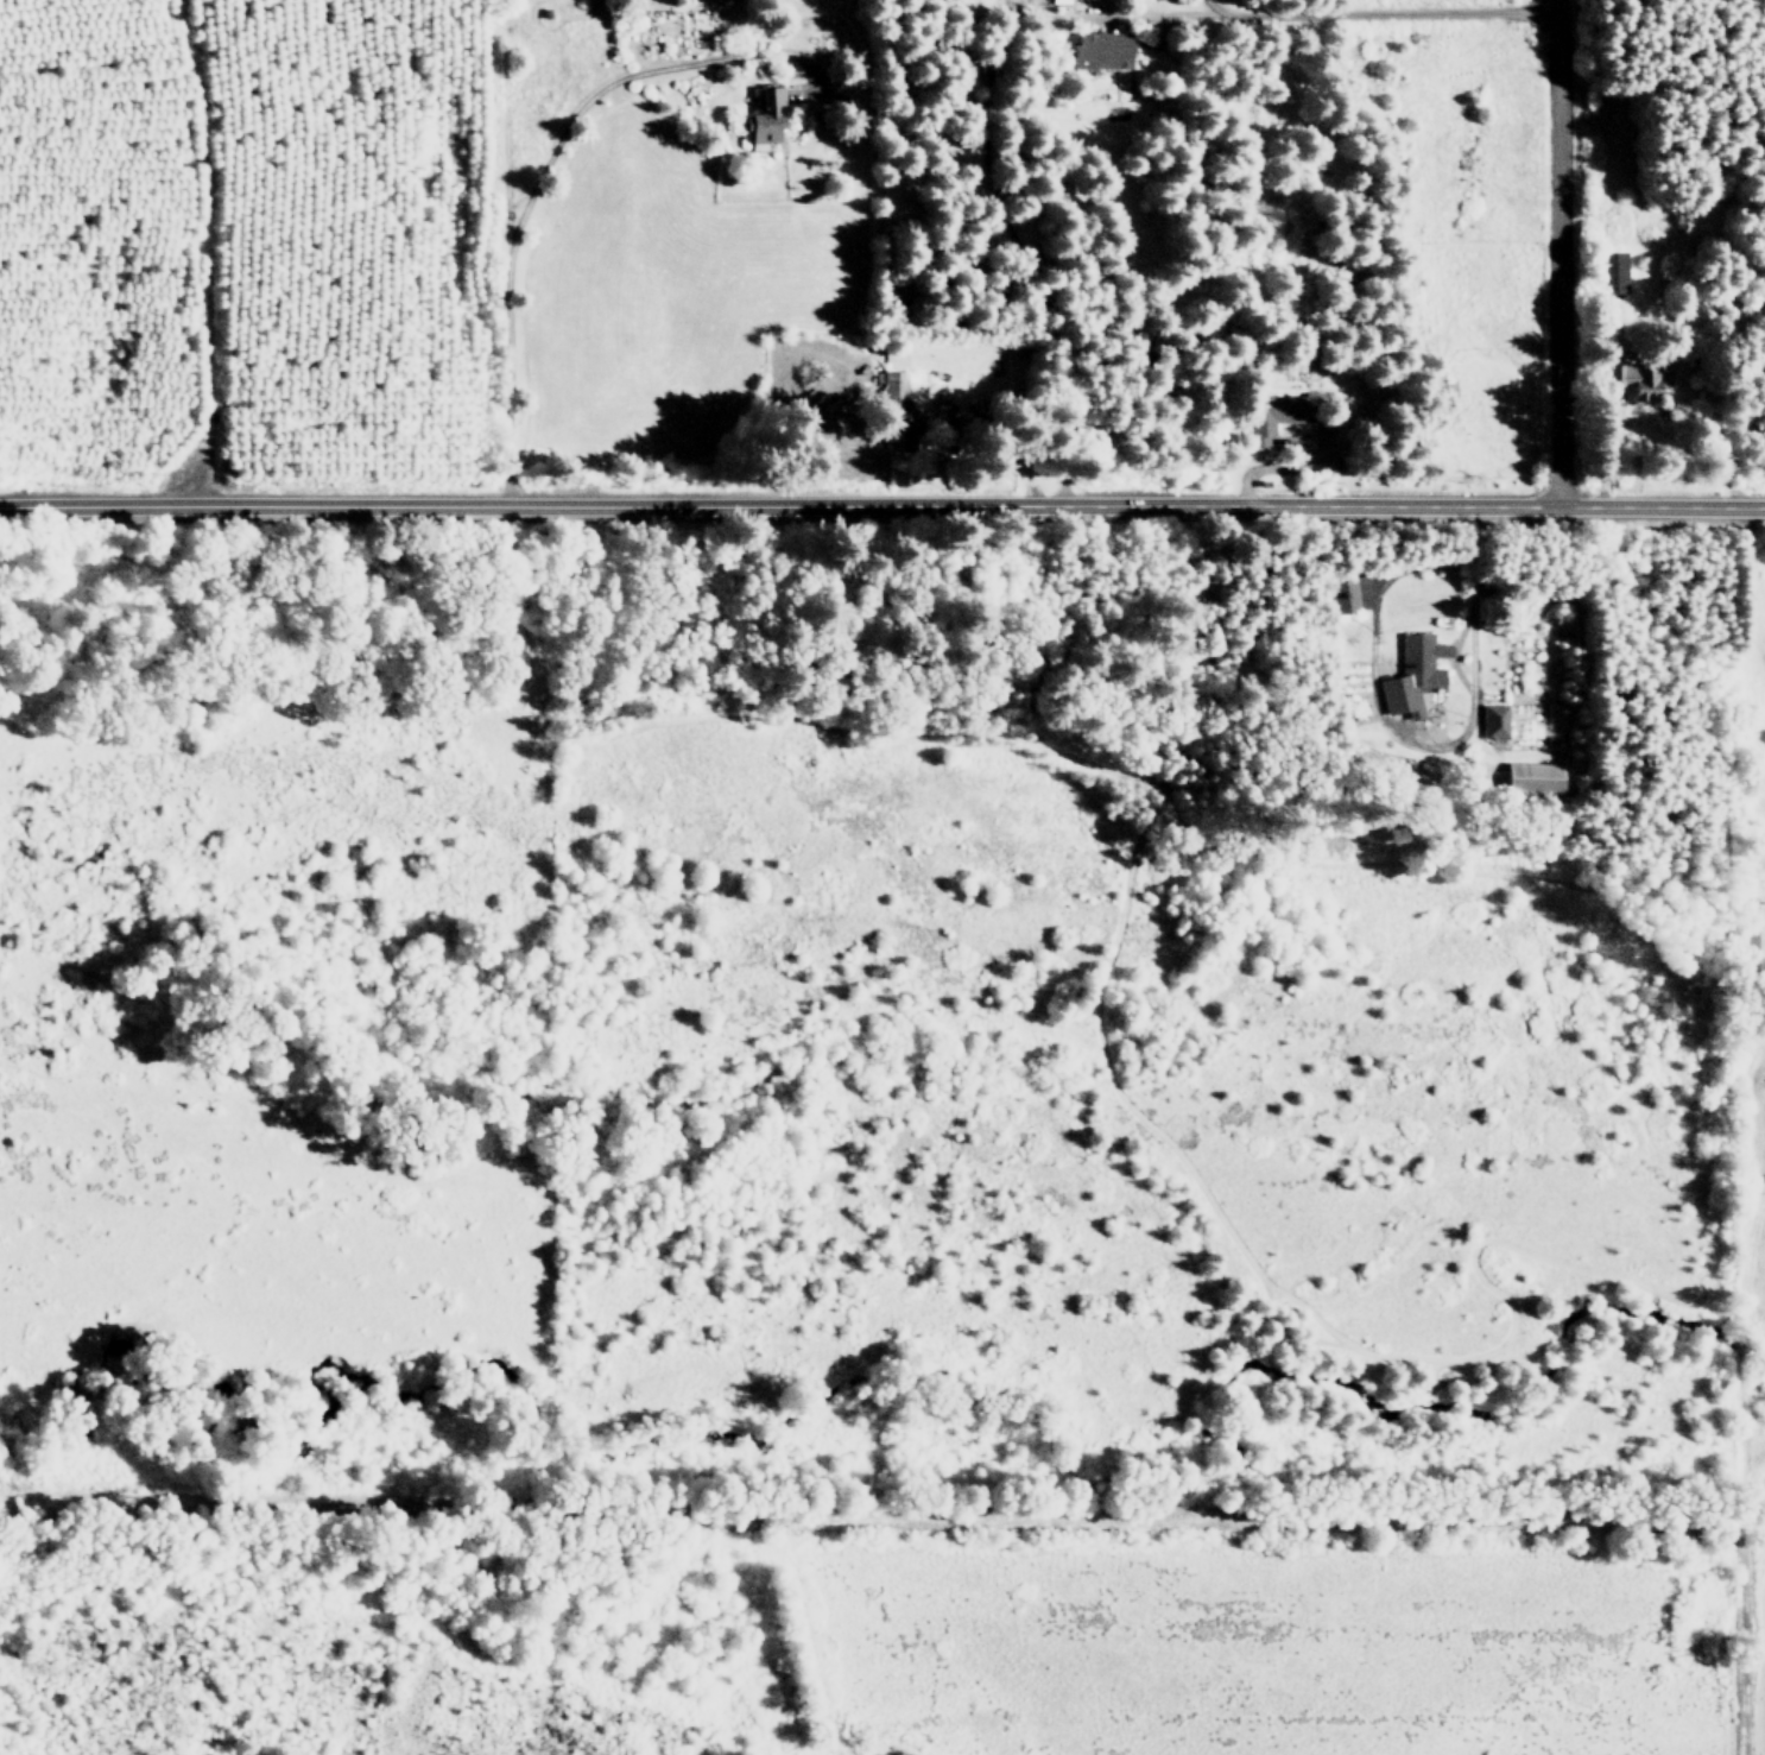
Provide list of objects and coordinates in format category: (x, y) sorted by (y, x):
building: (1056, 2)
road: (1219, 10)
road: (1327, 14)
building: (1097, 50)
building: (766, 118)
road: (238, 251)
road: (1558, 252)
building: (1614, 271)
building: (1644, 378)
building: (893, 400)
building: (1279, 412)
road: (1292, 438)
road: (1276, 468)
building: (1263, 481)
road: (883, 503)
road: (1362, 554)
building: (1343, 594)
road: (1453, 652)
building: (1415, 674)
building: (1493, 721)
road: (1415, 745)
building: (1531, 777)
building: (1758, 929)

